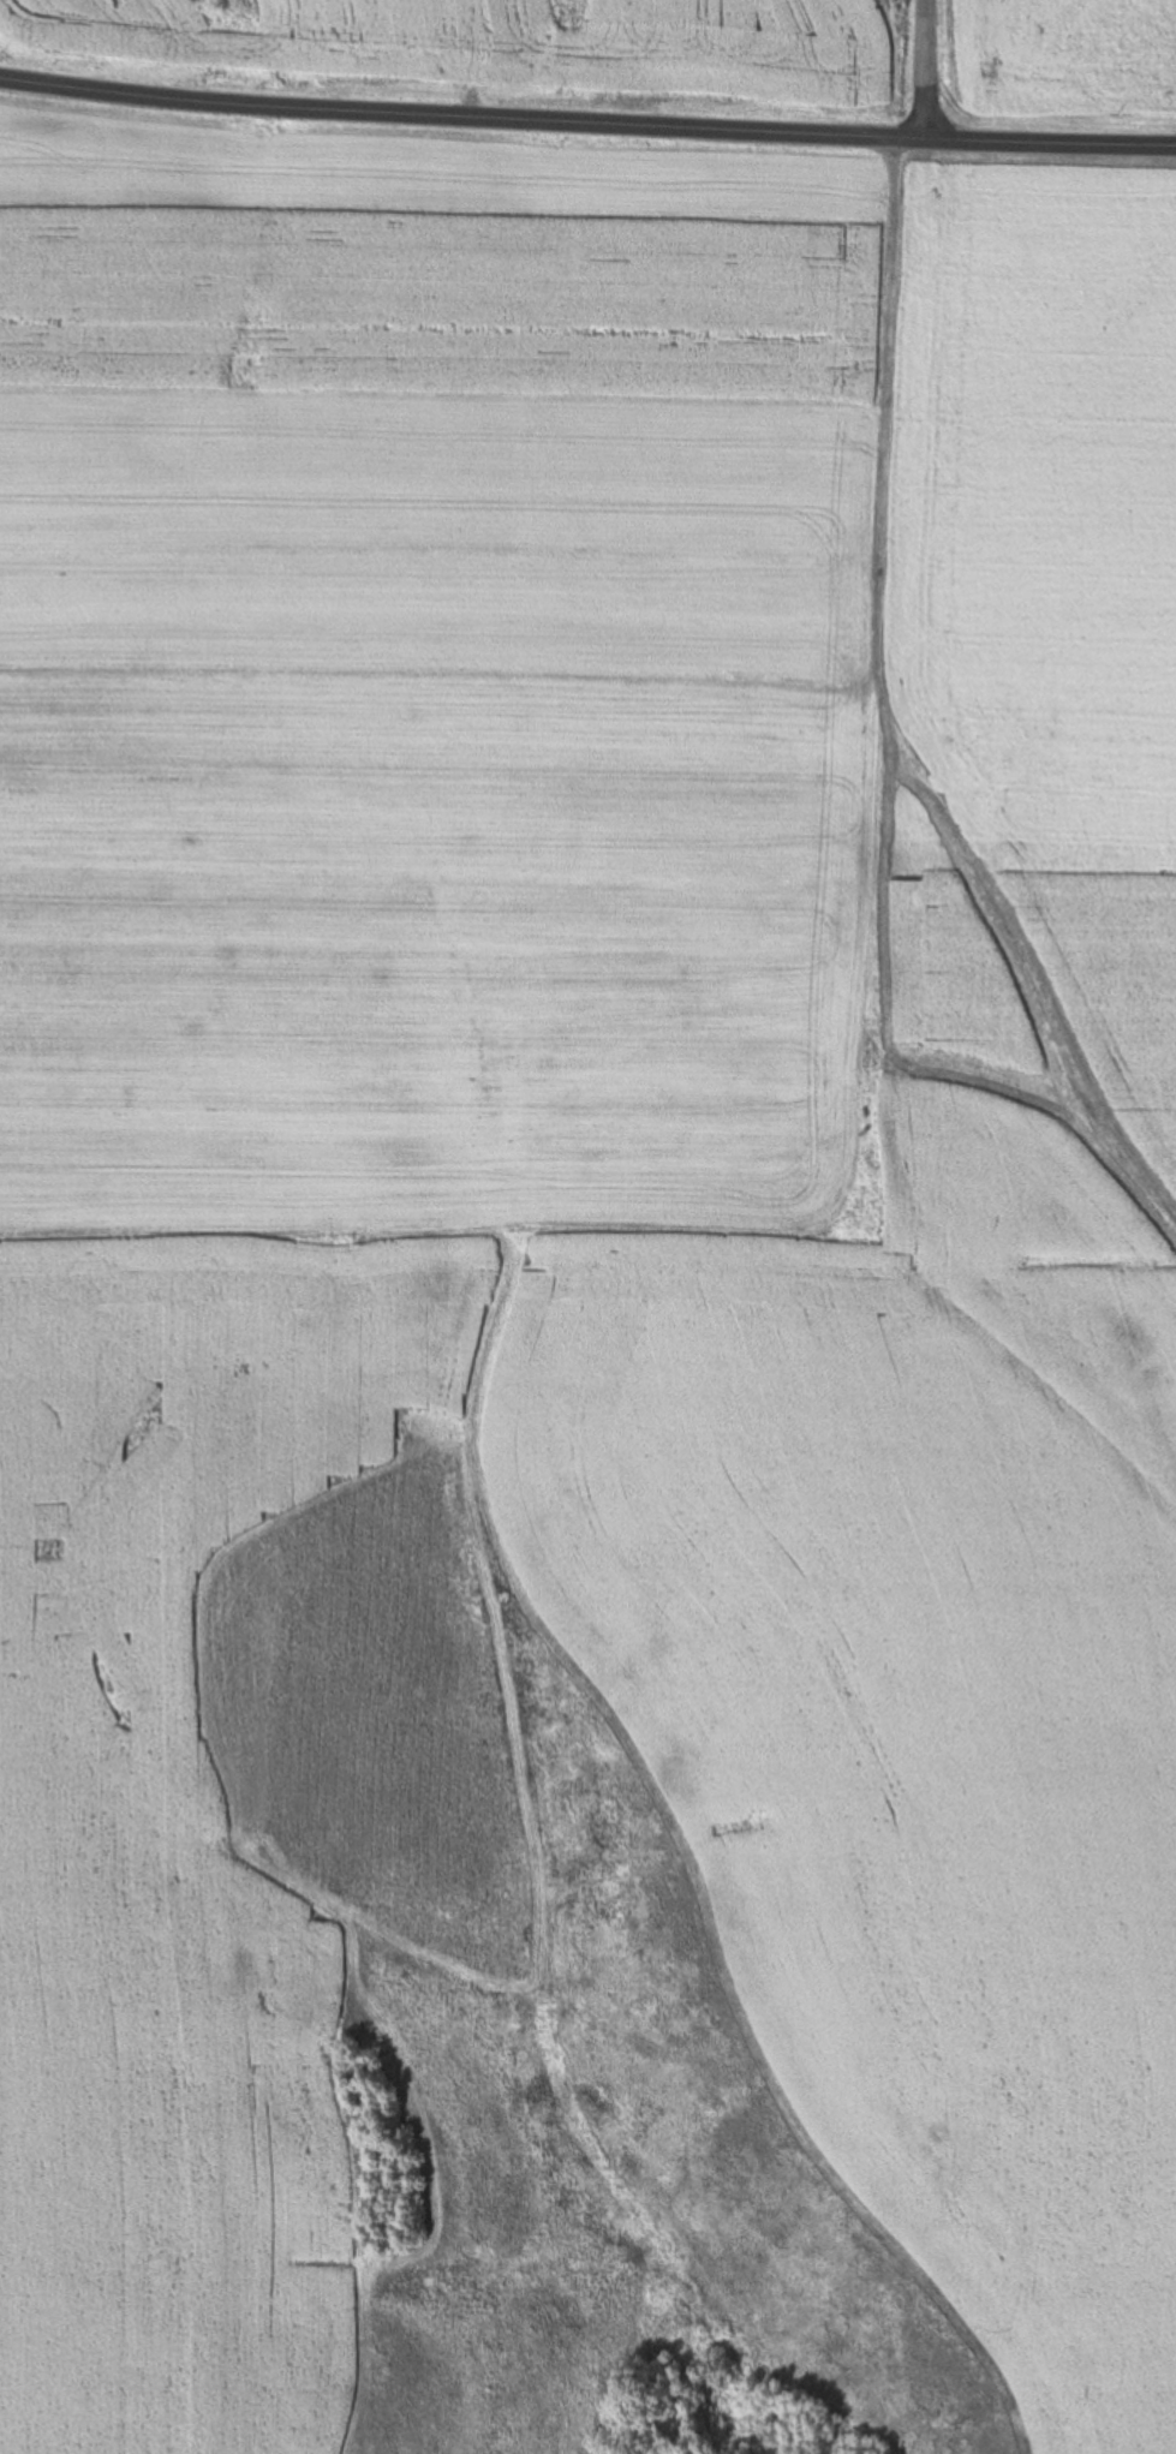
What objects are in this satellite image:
road: (930, 71)
road: (586, 125)

